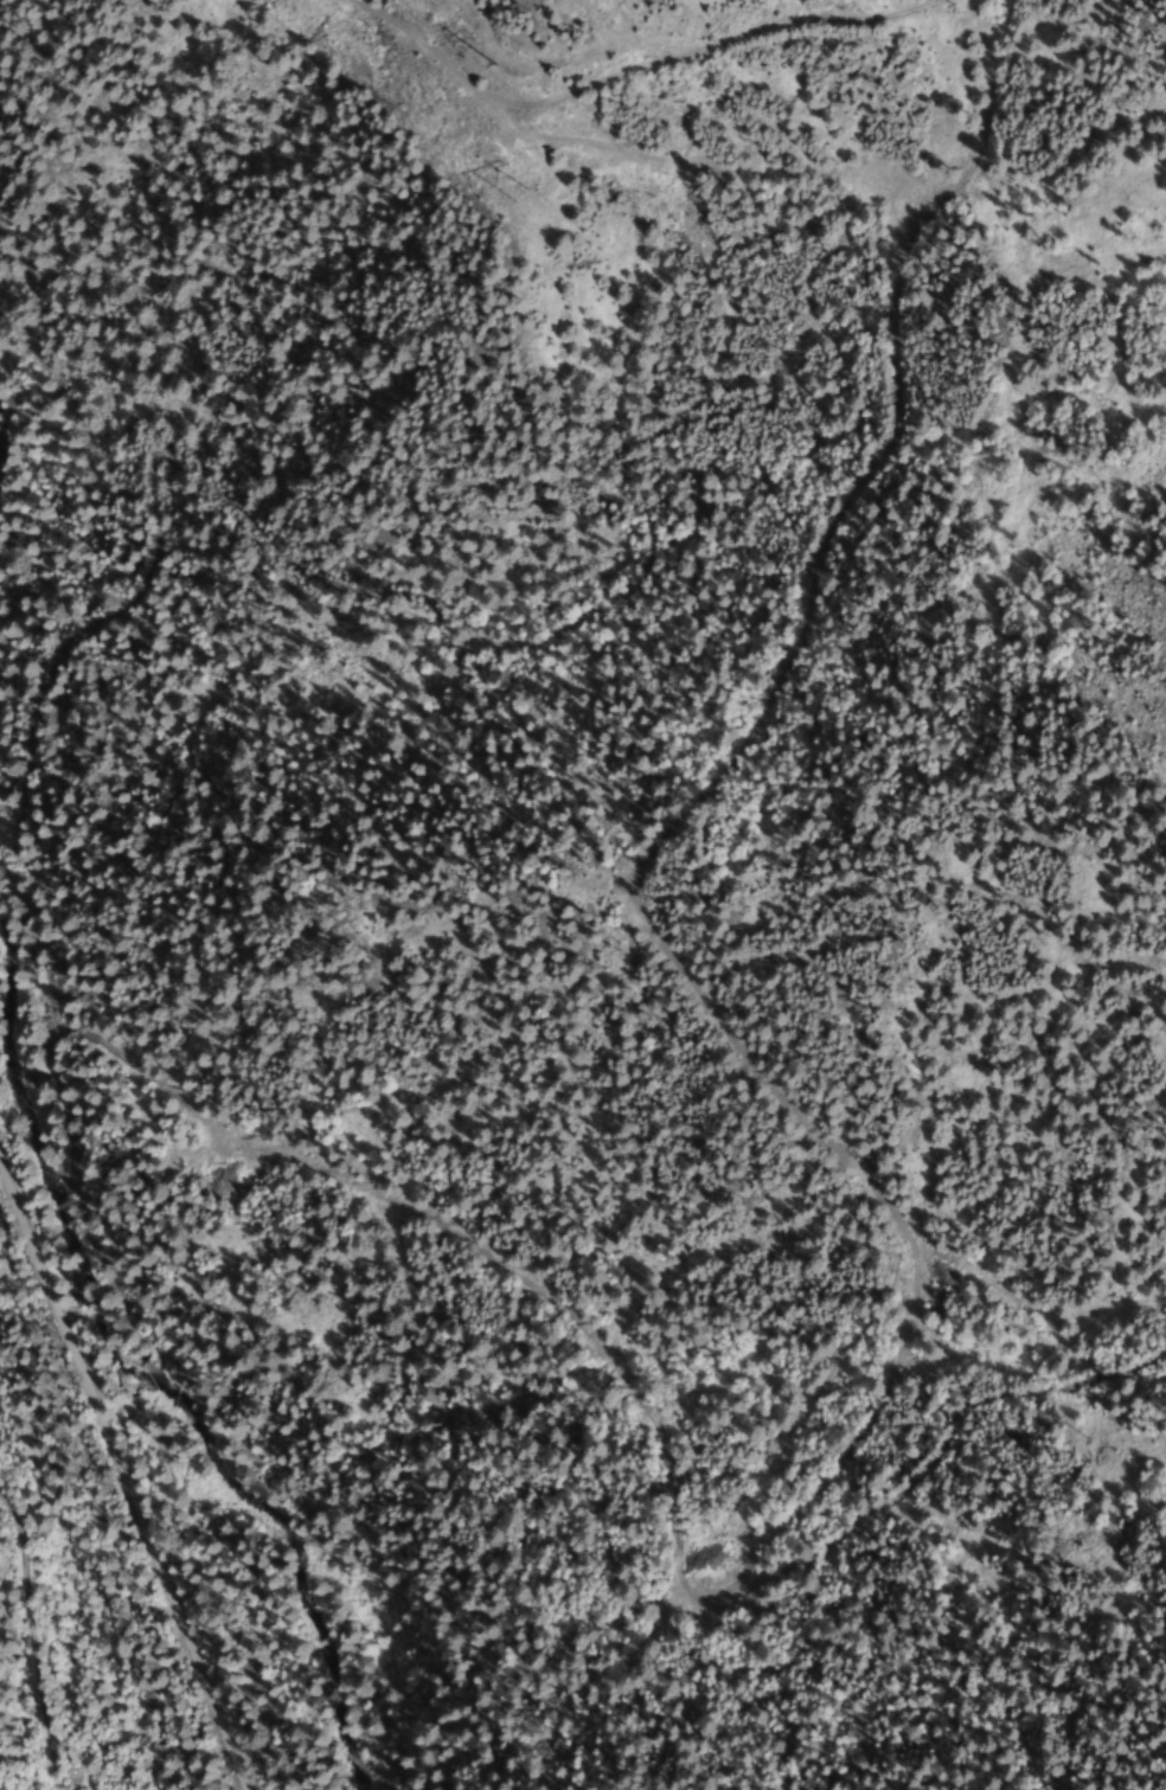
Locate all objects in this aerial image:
power tower: (514, 193)
road: (121, 1488)

